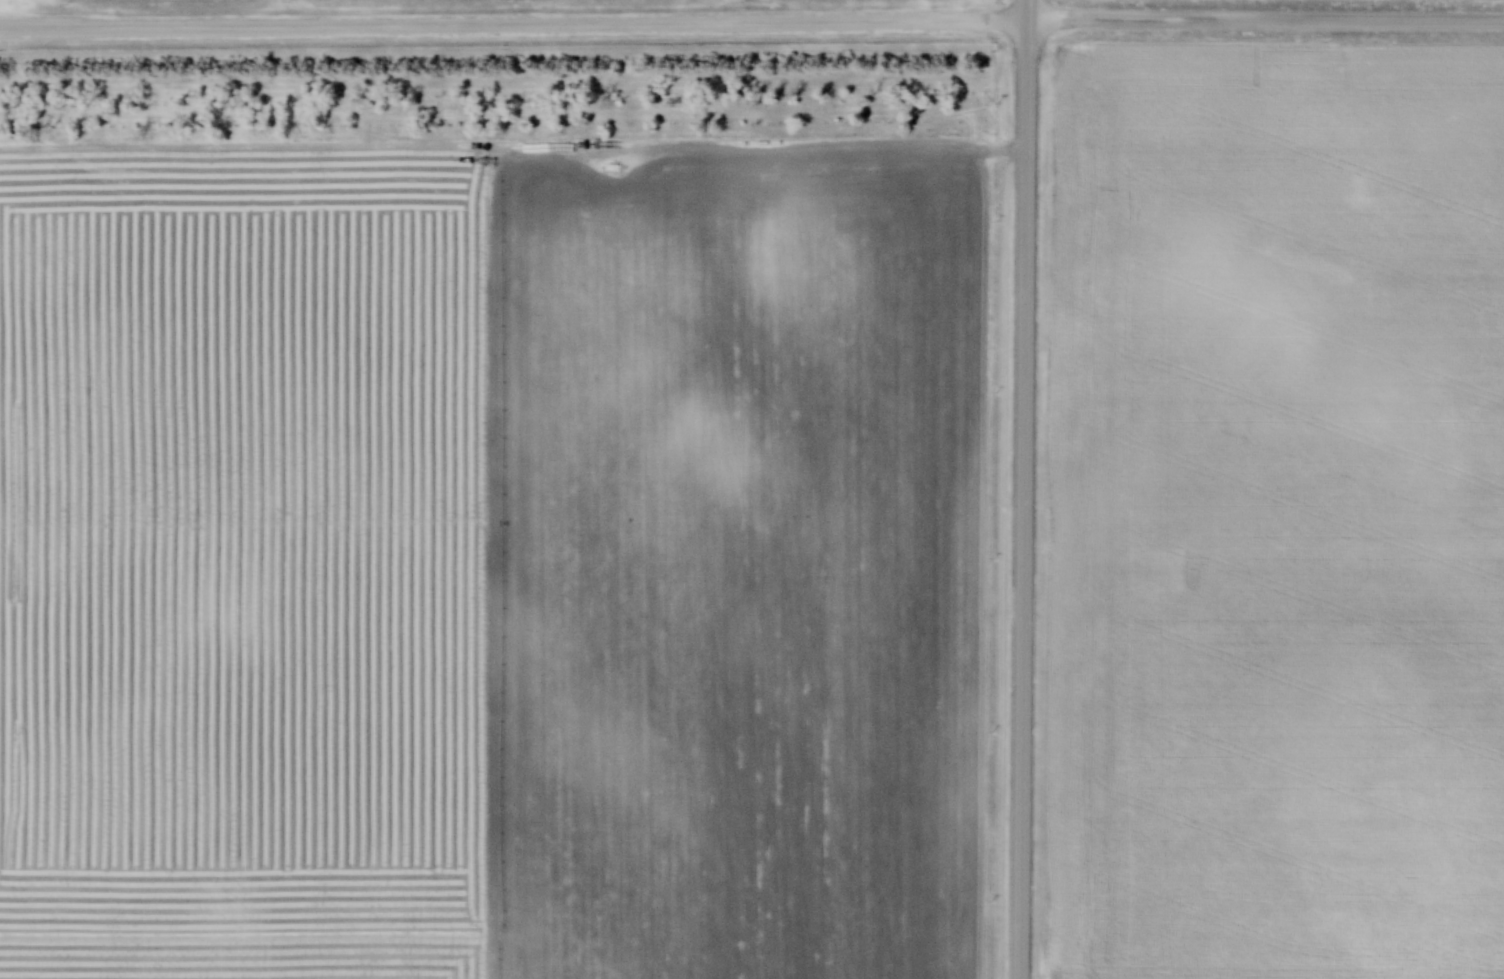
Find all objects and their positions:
road: (1263, 27)
road: (511, 30)
road: (1019, 489)

